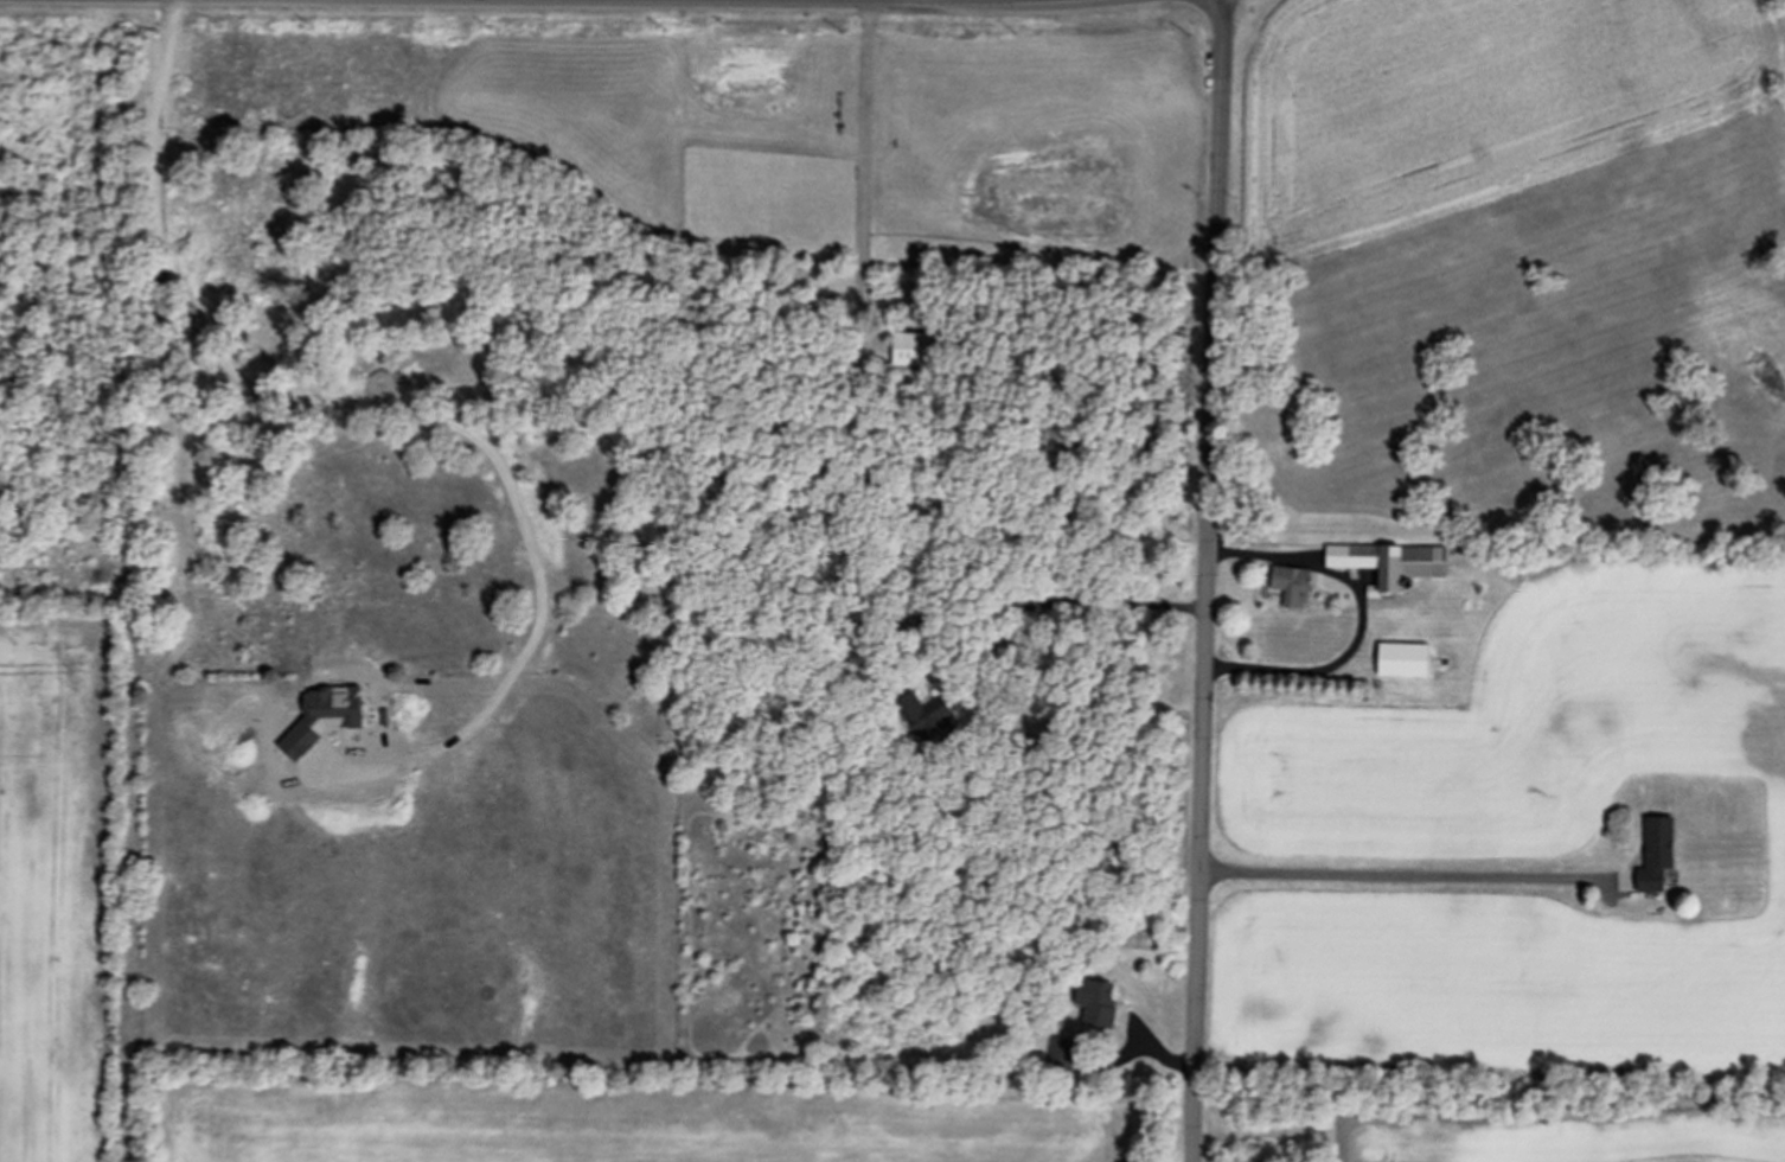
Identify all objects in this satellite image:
road: (871, 128)
building: (915, 350)
building: (1394, 563)
road: (1211, 580)
building: (1297, 586)
building: (1406, 659)
road: (1323, 672)
building: (914, 704)
building: (1661, 854)
road: (1413, 877)
building: (1105, 1004)

